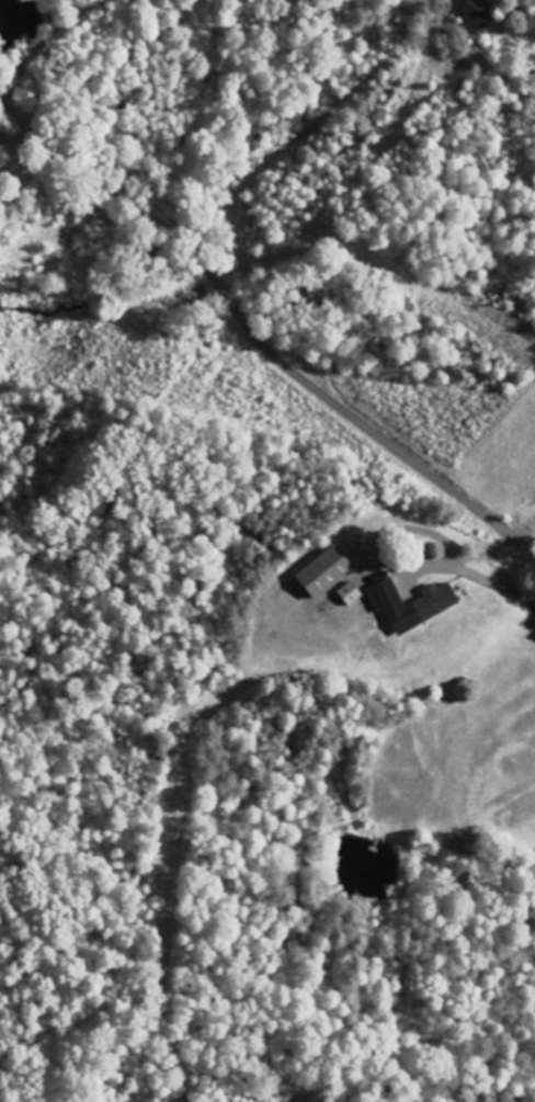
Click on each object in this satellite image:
building: (475, 16)
road: (318, 141)
road: (257, 339)
building: (328, 571)
building: (412, 604)

